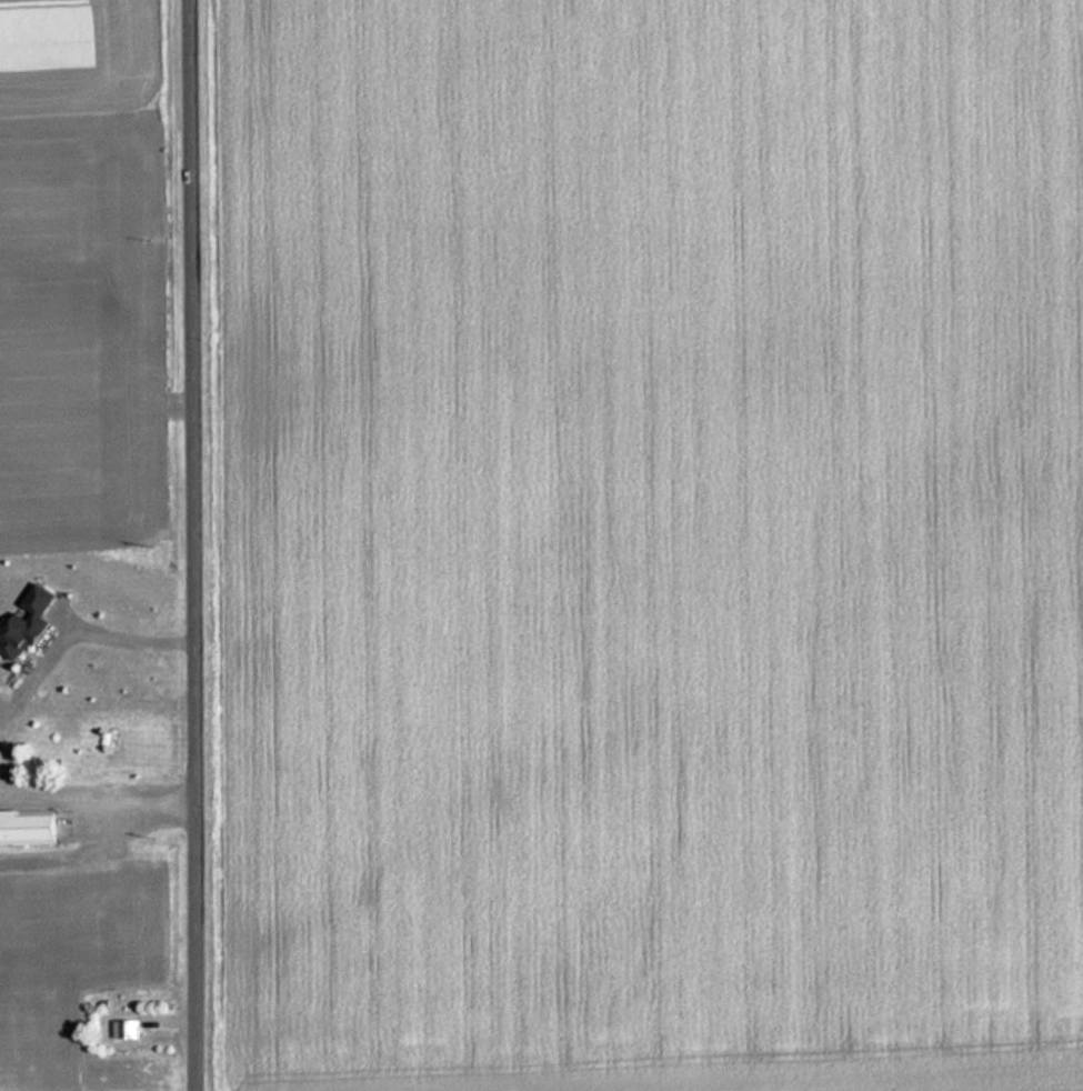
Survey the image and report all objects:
road: (199, 545)
building: (30, 829)
building: (130, 1029)

